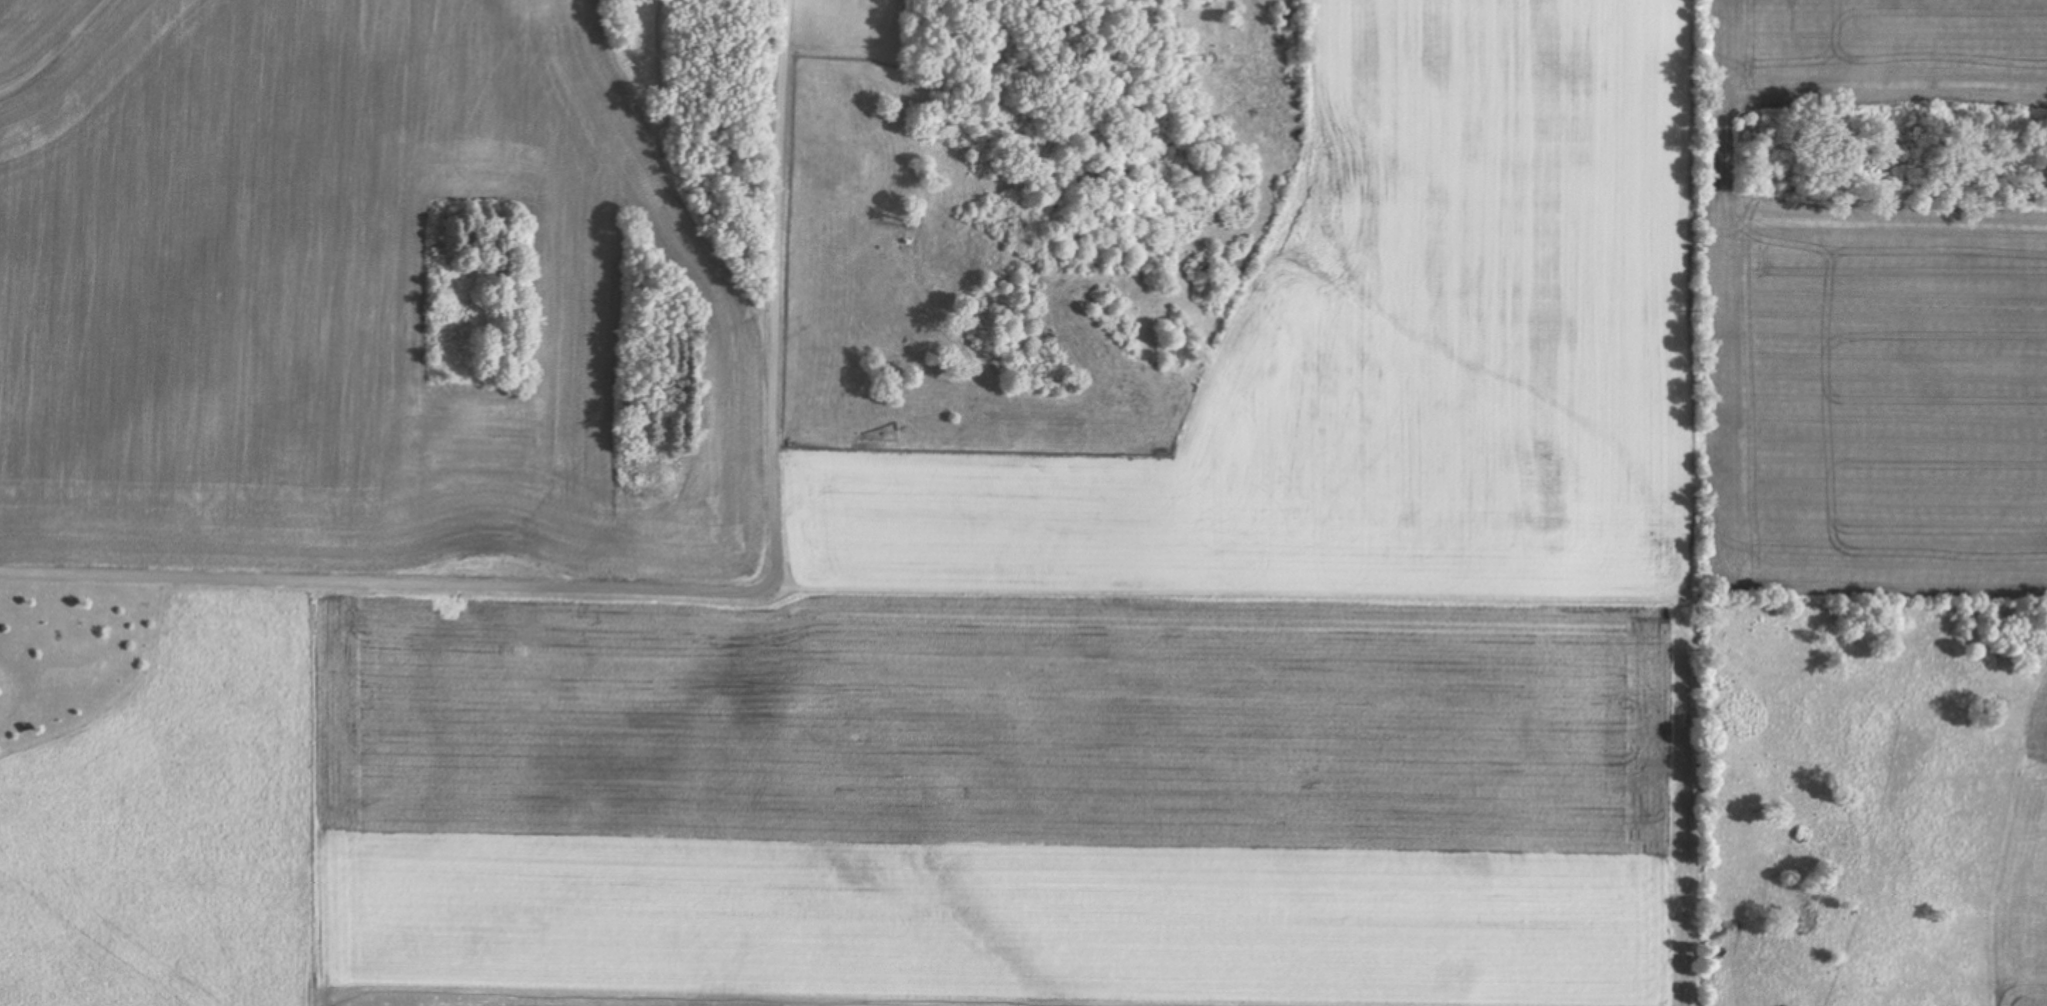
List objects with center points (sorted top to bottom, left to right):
road: (679, 590)
building: (183, 641)

